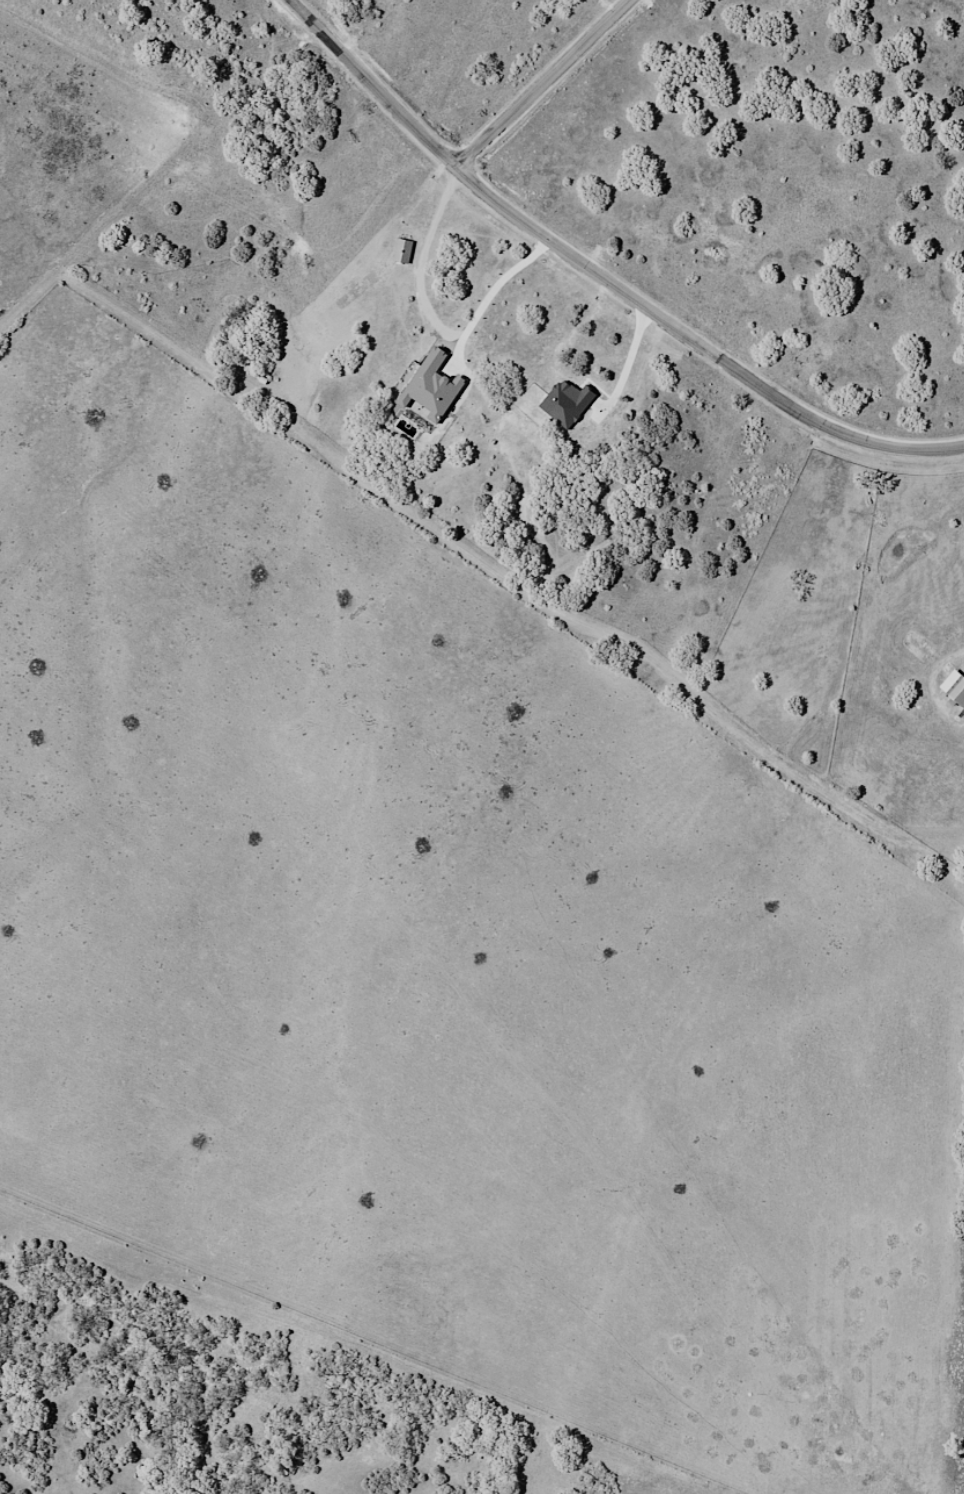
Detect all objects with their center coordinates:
road: (547, 82)
building: (405, 253)
road: (604, 272)
building: (437, 389)
building: (569, 402)
building: (956, 690)

